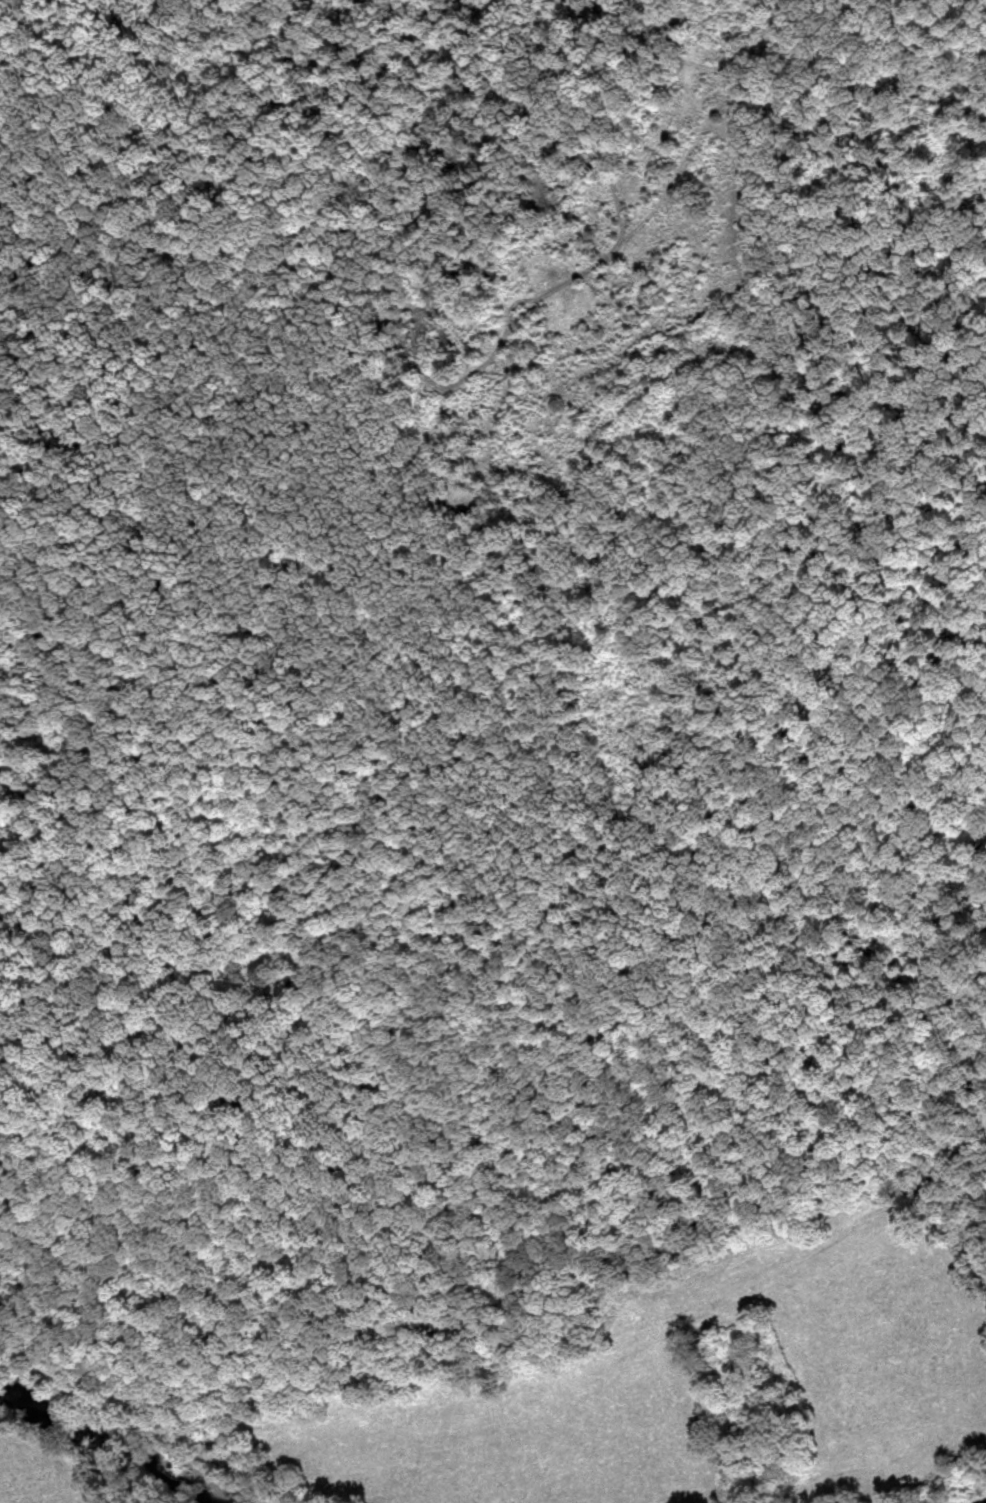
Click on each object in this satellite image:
park: (746, 1390)

